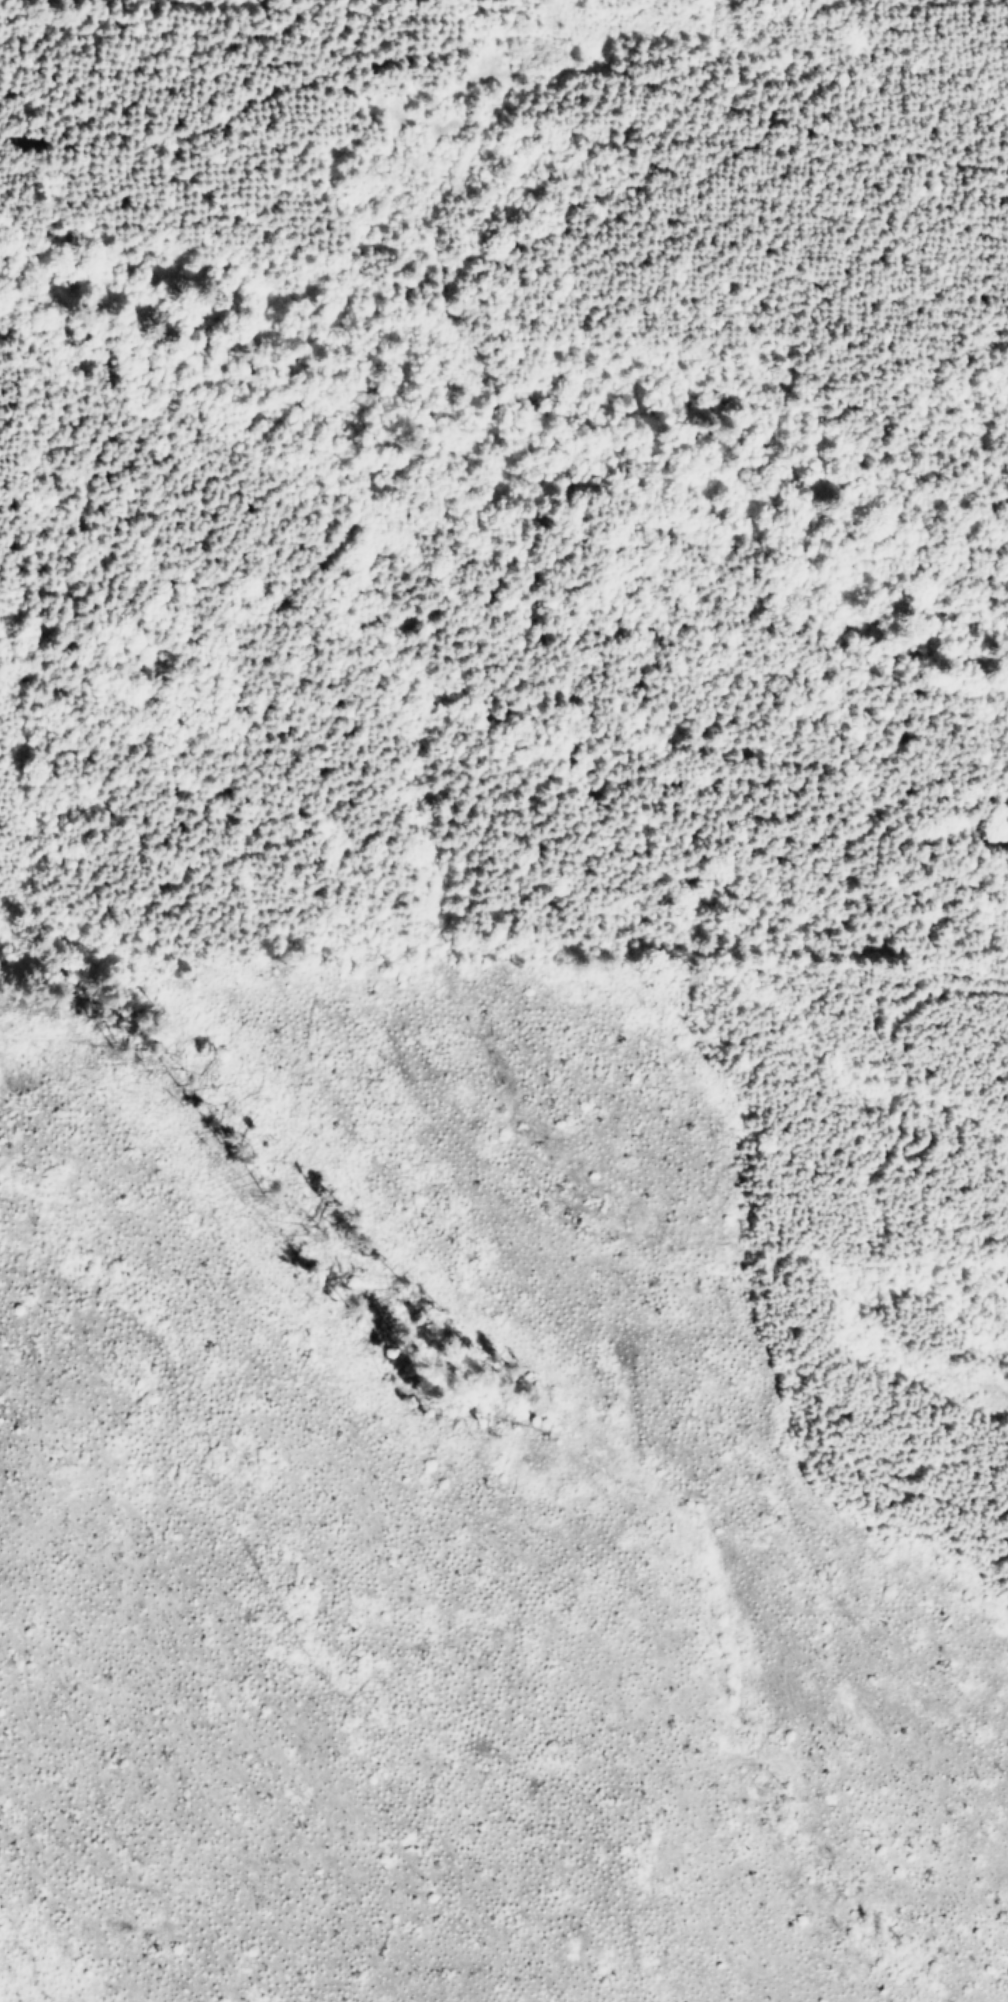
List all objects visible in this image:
road: (316, 737)

